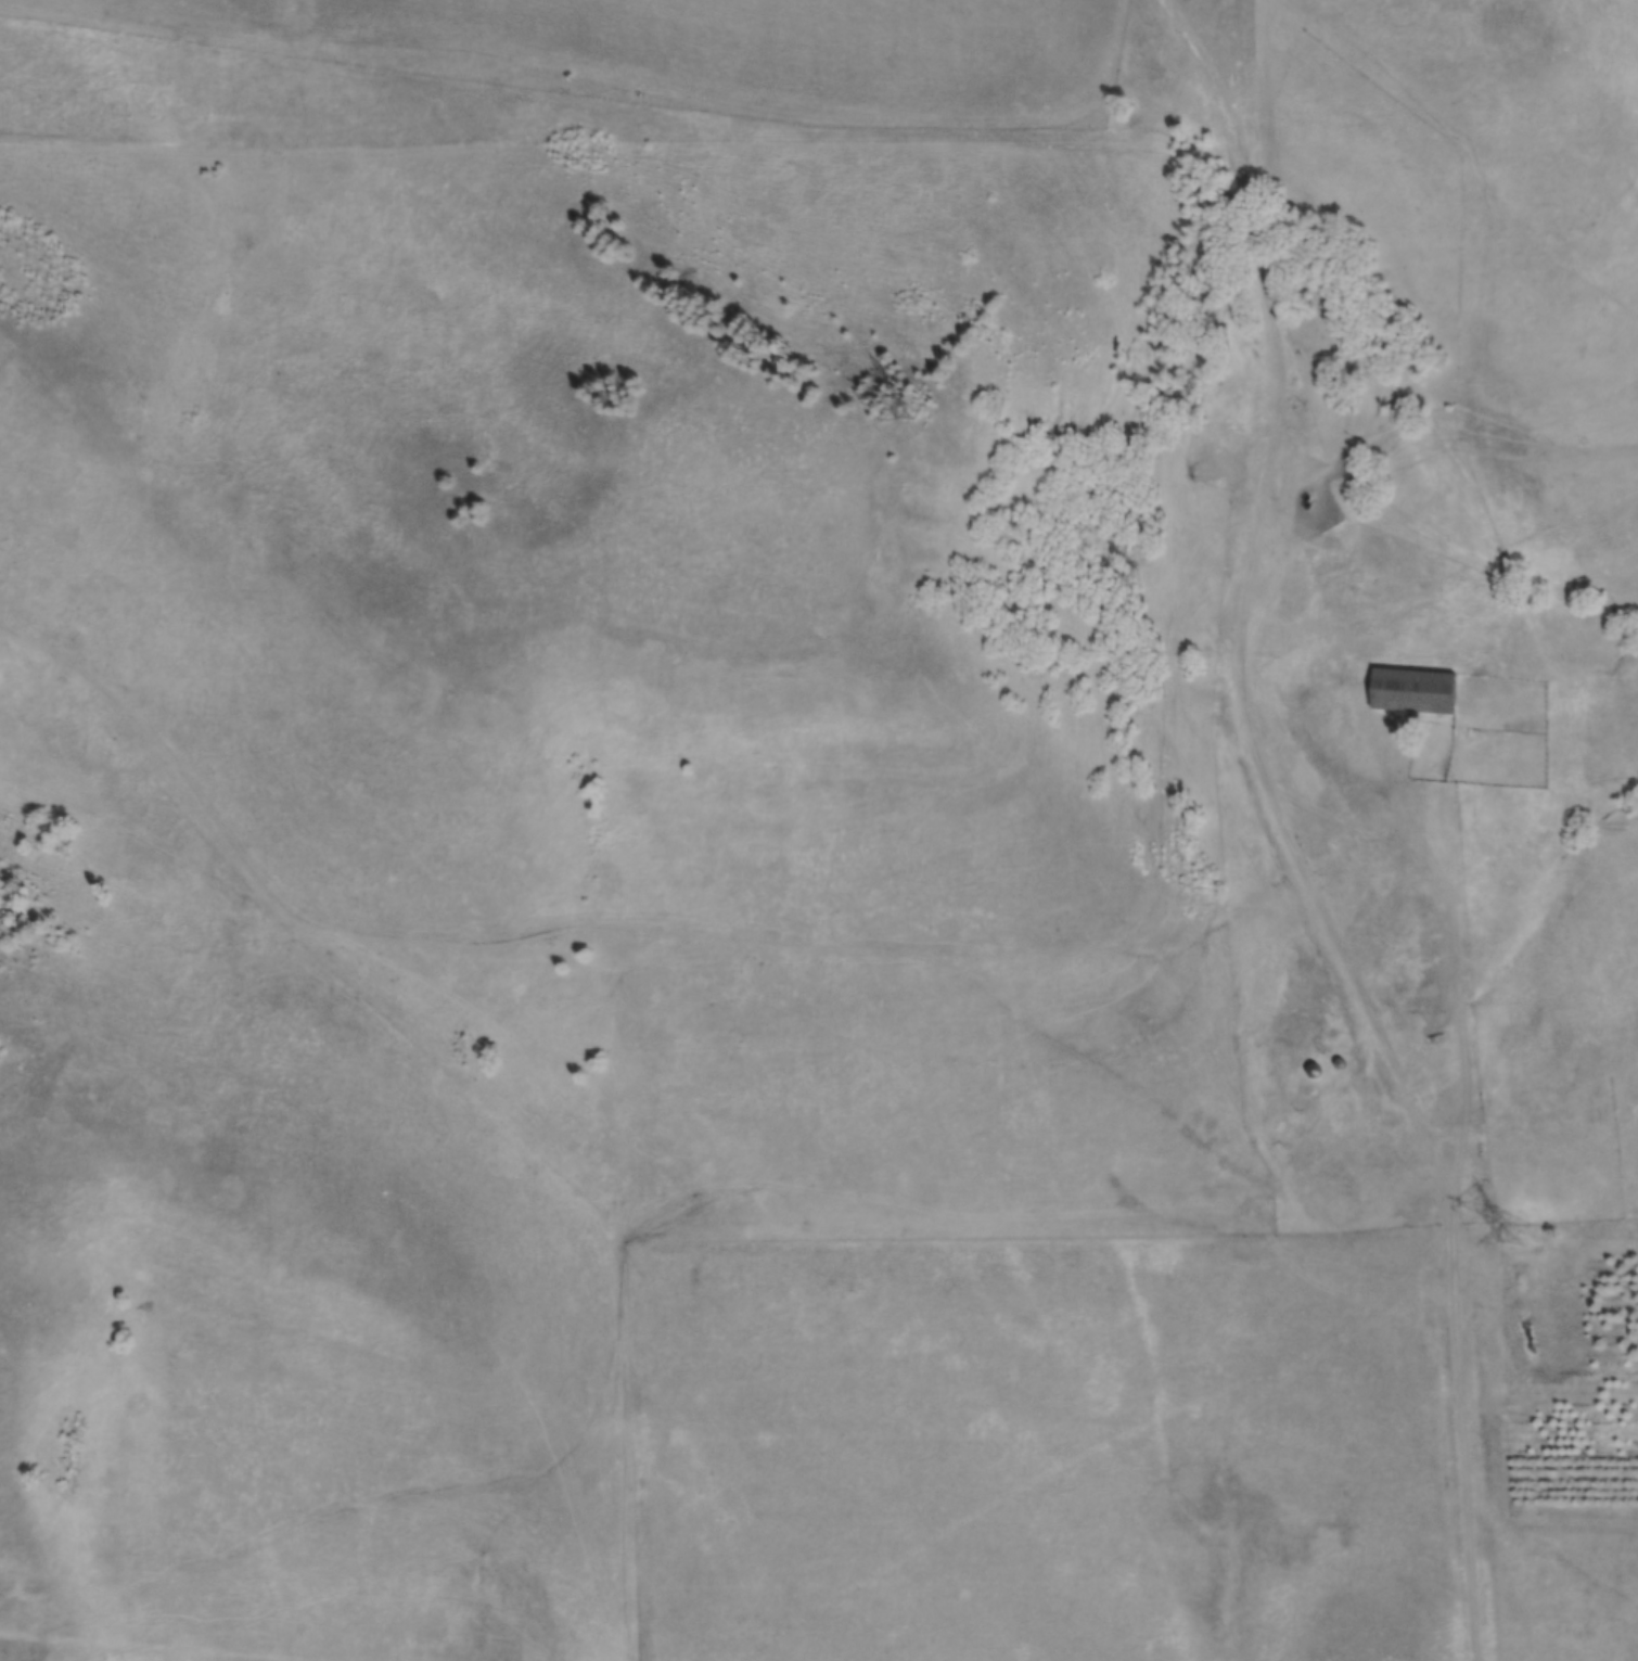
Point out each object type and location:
building: (1418, 690)
road: (1284, 839)
building: (1317, 1071)
power tower: (1533, 1228)

